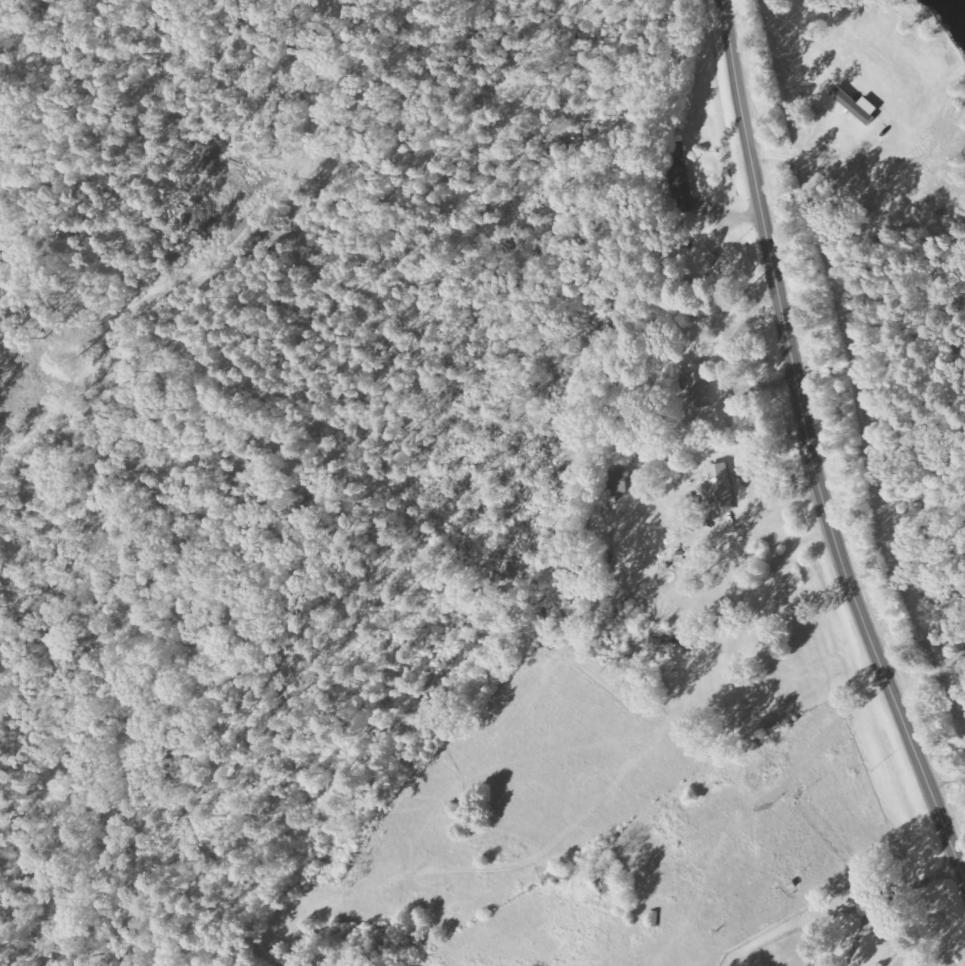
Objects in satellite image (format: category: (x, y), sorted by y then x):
building: (855, 106)
building: (683, 196)
building: (697, 385)
road: (683, 453)
road: (810, 456)
building: (718, 489)

